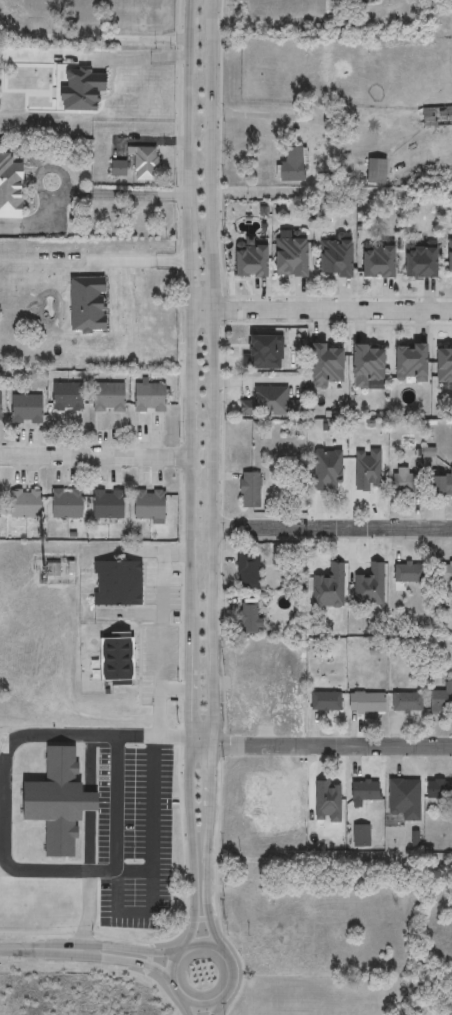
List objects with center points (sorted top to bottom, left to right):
building: (450, 1)
building: (353, 3)
road: (272, 23)
road: (94, 38)
road: (124, 58)
road: (268, 115)
building: (437, 117)
building: (146, 164)
building: (291, 167)
building: (122, 168)
building: (375, 172)
building: (11, 188)
road: (85, 194)
building: (286, 255)
building: (333, 256)
building: (447, 259)
road: (142, 261)
building: (247, 261)
building: (417, 261)
building: (375, 262)
road: (320, 309)
building: (408, 363)
building: (364, 365)
building: (442, 365)
building: (323, 366)
building: (68, 397)
building: (108, 398)
building: (148, 399)
building: (263, 403)
building: (0, 407)
building: (27, 410)
road: (95, 456)
road: (189, 475)
road: (212, 475)
building: (400, 482)
building: (440, 483)
building: (248, 491)
building: (0, 505)
building: (26, 505)
building: (106, 505)
building: (66, 506)
building: (148, 507)
road: (332, 527)
building: (245, 570)
building: (327, 574)
building: (404, 574)
building: (443, 574)
building: (117, 585)
road: (162, 609)
building: (246, 619)
building: (121, 665)
building: (440, 699)
road: (160, 701)
building: (323, 701)
building: (364, 702)
building: (405, 702)
road: (319, 742)
building: (438, 790)
building: (362, 791)
road: (2, 793)
building: (402, 799)
building: (60, 800)
road: (89, 804)
road: (118, 804)
building: (359, 835)
road: (153, 838)
road: (107, 946)
road: (16, 948)
road: (106, 954)
road: (185, 999)
road: (186, 1005)
road: (216, 1007)
building: (445, 1010)

